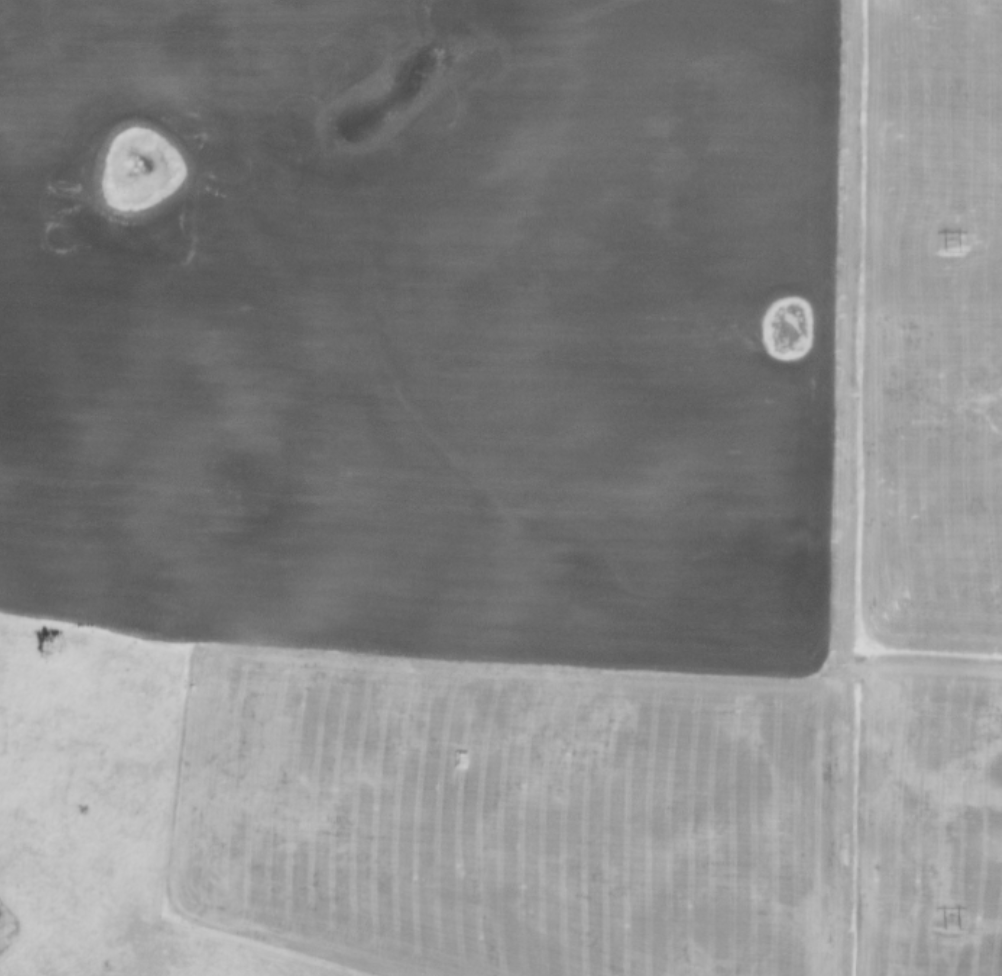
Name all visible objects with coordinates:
power tower: (952, 250)
power tower: (947, 929)

